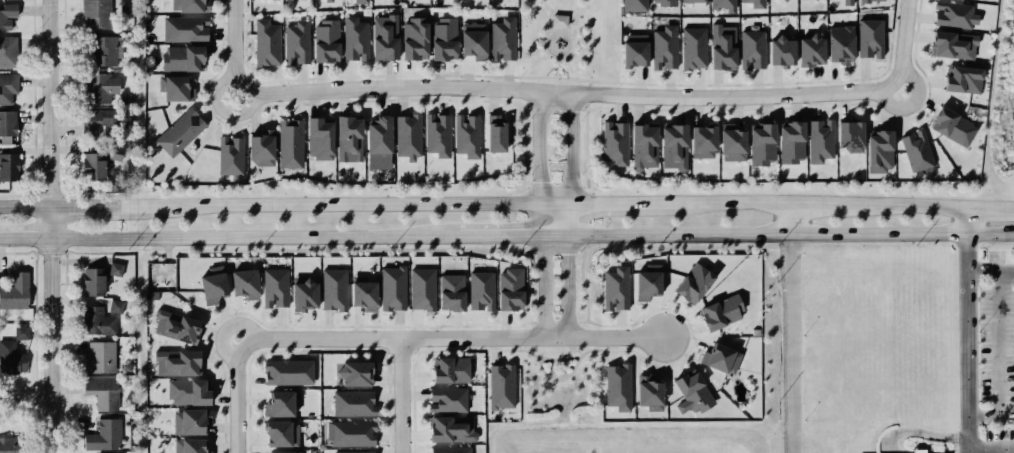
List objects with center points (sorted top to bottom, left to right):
building: (329, 0)
building: (868, 0)
building: (363, 1)
building: (662, 2)
building: (845, 2)
building: (696, 3)
building: (749, 3)
building: (632, 4)
building: (722, 4)
building: (191, 5)
road: (559, 12)
building: (950, 13)
building: (7, 14)
building: (94, 14)
building: (558, 20)
road: (549, 21)
road: (567, 22)
road: (558, 29)
building: (191, 30)
building: (412, 35)
building: (868, 37)
building: (442, 38)
building: (502, 38)
road: (235, 39)
building: (354, 39)
building: (325, 40)
building: (384, 40)
park: (567, 41)
road: (905, 41)
building: (295, 42)
building: (469, 42)
building: (265, 43)
building: (837, 43)
building: (950, 44)
building: (664, 48)
building: (690, 48)
building: (748, 48)
building: (720, 49)
building: (806, 49)
building: (103, 50)
building: (630, 51)
building: (779, 52)
building: (7, 53)
building: (185, 59)
road: (556, 67)
road: (534, 76)
road: (571, 78)
building: (961, 78)
road: (610, 81)
road: (588, 82)
building: (7, 86)
building: (97, 88)
building: (178, 88)
road: (564, 92)
road: (587, 93)
road: (911, 103)
road: (587, 105)
road: (222, 107)
building: (7, 122)
building: (89, 122)
building: (946, 124)
building: (182, 132)
building: (492, 132)
building: (408, 135)
building: (437, 135)
building: (347, 136)
building: (466, 136)
building: (318, 137)
building: (817, 138)
building: (845, 138)
building: (699, 140)
building: (788, 140)
building: (730, 141)
building: (377, 142)
building: (611, 142)
building: (760, 142)
building: (288, 143)
building: (669, 143)
building: (640, 144)
building: (878, 147)
road: (541, 149)
building: (915, 149)
building: (259, 150)
road: (571, 150)
building: (113, 152)
building: (231, 156)
building: (91, 165)
building: (8, 166)
road: (596, 203)
road: (713, 204)
road: (337, 205)
road: (819, 205)
road: (906, 205)
road: (989, 207)
road: (87, 209)
road: (27, 210)
road: (556, 219)
road: (790, 220)
road: (964, 220)
road: (55, 226)
road: (507, 235)
road: (785, 235)
road: (257, 237)
road: (27, 239)
road: (50, 250)
road: (63, 251)
road: (37, 252)
road: (65, 261)
building: (114, 269)
road: (989, 270)
building: (91, 280)
building: (241, 282)
building: (688, 282)
road: (569, 283)
building: (642, 283)
building: (206, 284)
road: (544, 284)
building: (274, 287)
building: (613, 287)
building: (508, 288)
building: (301, 289)
building: (331, 289)
building: (390, 289)
building: (420, 289)
building: (450, 289)
building: (15, 290)
building: (479, 290)
building: (362, 293)
road: (35, 304)
building: (717, 311)
building: (99, 318)
building: (175, 327)
road: (226, 328)
building: (20, 332)
road: (453, 337)
road: (791, 344)
building: (10, 355)
building: (99, 357)
building: (717, 357)
road: (1000, 358)
building: (179, 360)
road: (966, 364)
building: (445, 370)
building: (286, 371)
building: (351, 371)
building: (615, 385)
building: (500, 388)
road: (18, 389)
road: (65, 389)
building: (99, 391)
building: (646, 391)
building: (689, 391)
building: (187, 392)
road: (402, 395)
building: (444, 398)
road: (242, 400)
building: (277, 402)
road: (34, 403)
building: (350, 403)
road: (28, 404)
road: (34, 416)
road: (34, 419)
road: (36, 419)
building: (186, 421)
building: (445, 427)
building: (102, 434)
building: (350, 434)
building: (275, 435)
building: (4, 440)
parking lot: (995, 440)
building: (188, 445)
building: (447, 450)
building: (920, 451)
road: (967, 451)
building: (287, 452)
building: (354, 452)

